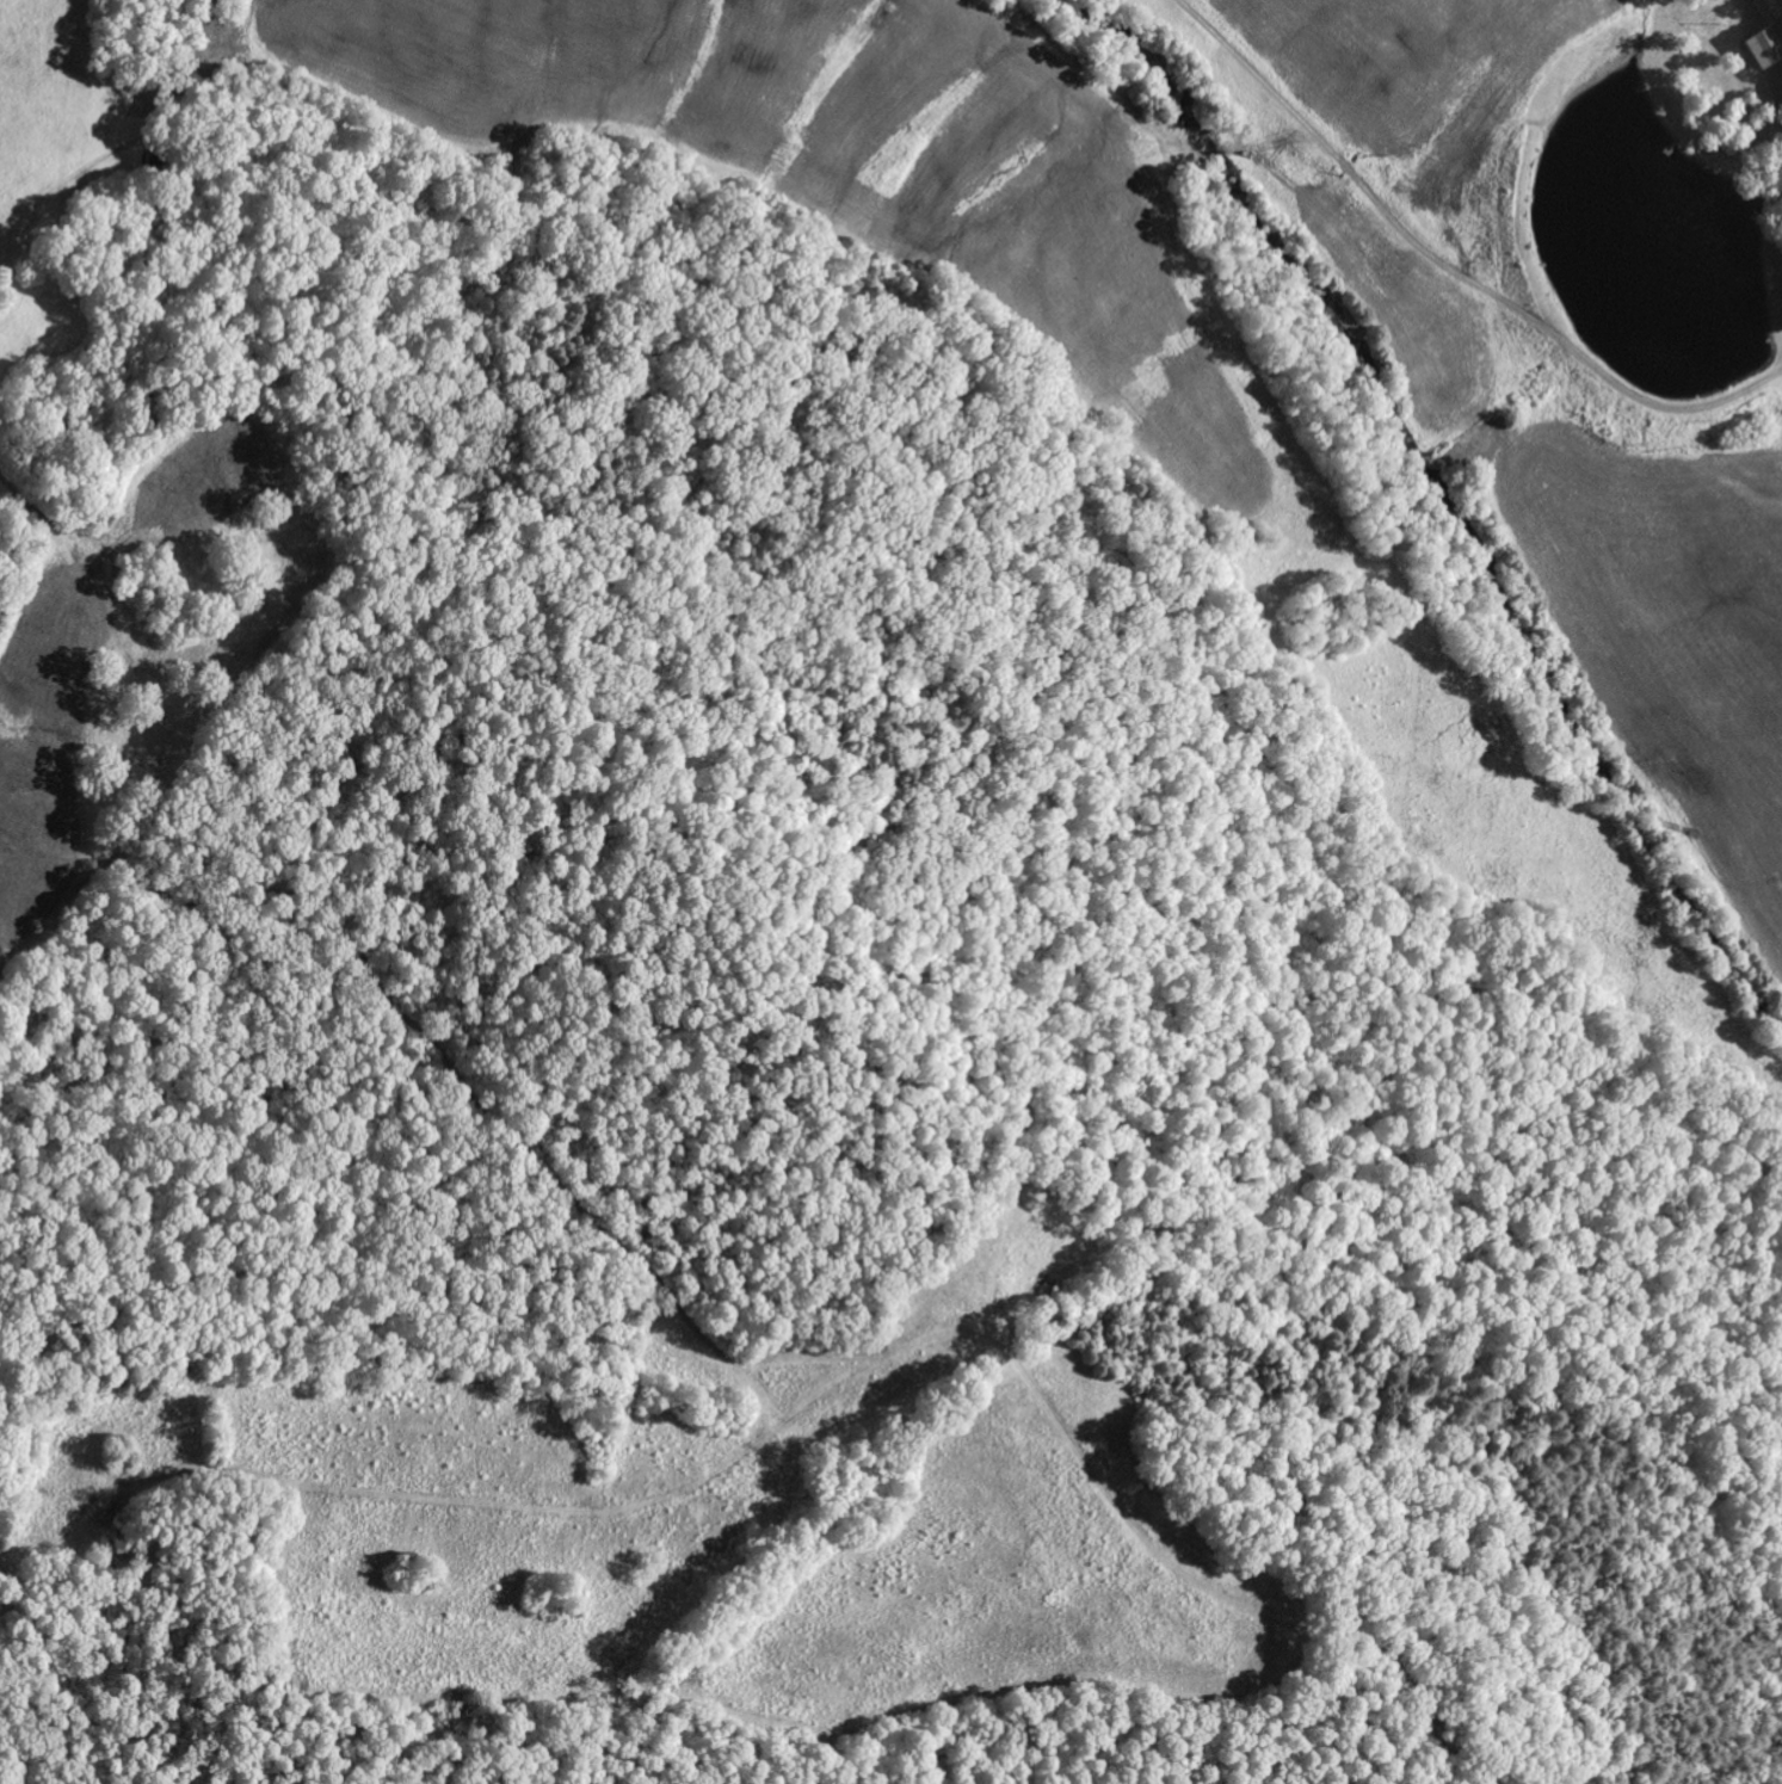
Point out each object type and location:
building: (1762, 48)
road: (1453, 267)

